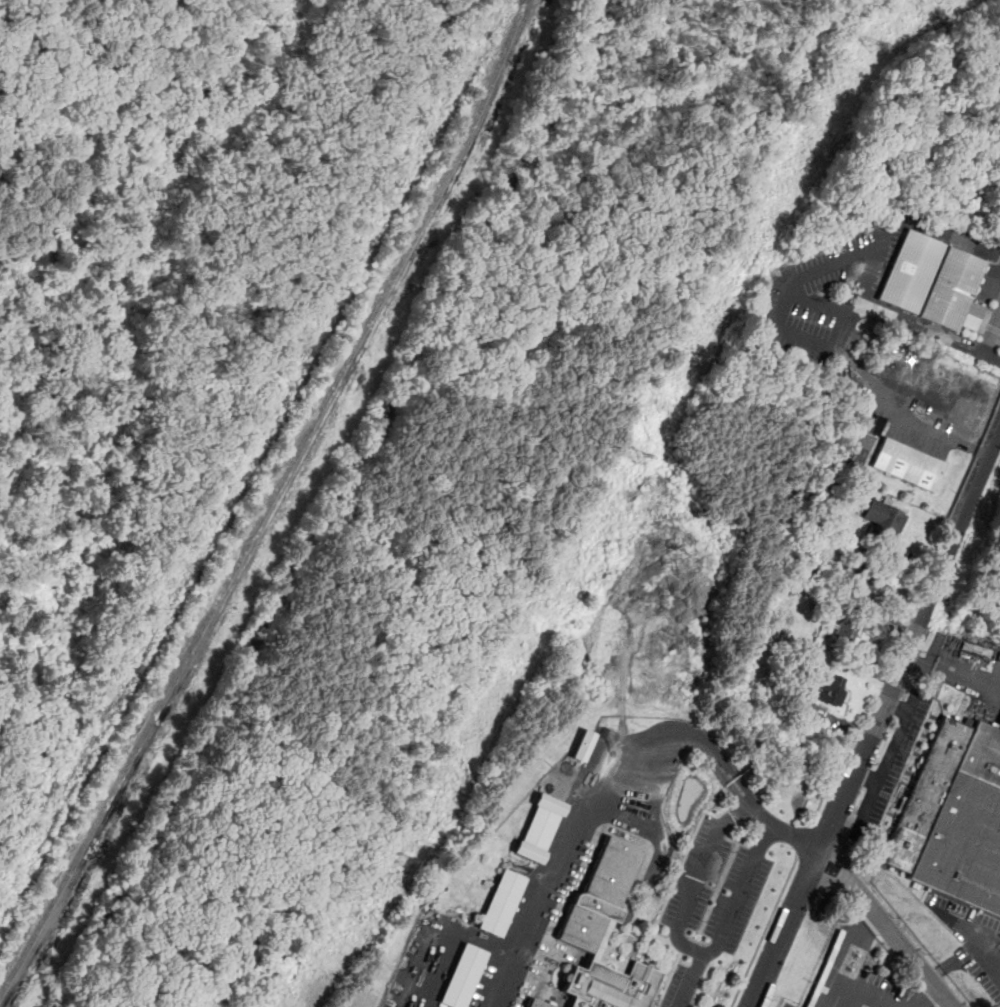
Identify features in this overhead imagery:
power tower: (870, 44)
road: (845, 256)
road: (868, 277)
building: (937, 282)
road: (821, 305)
road: (993, 336)
road: (841, 347)
building: (864, 439)
power tower: (635, 455)
road: (975, 464)
building: (911, 465)
railway: (273, 503)
building: (890, 520)
building: (869, 582)
building: (832, 597)
building: (846, 628)
building: (772, 636)
road: (953, 672)
building: (830, 689)
road: (876, 726)
building: (588, 746)
road: (895, 746)
road: (617, 774)
road: (829, 785)
road: (869, 808)
building: (953, 818)
railway: (47, 827)
building: (539, 828)
road: (804, 842)
power tower: (402, 860)
building: (502, 902)
road: (891, 927)
road: (764, 932)
building: (605, 934)
road: (688, 946)
road: (851, 947)
road: (973, 951)
road: (938, 972)
building: (464, 975)
road: (692, 980)
road: (855, 995)
road: (929, 997)
building: (539, 1004)

